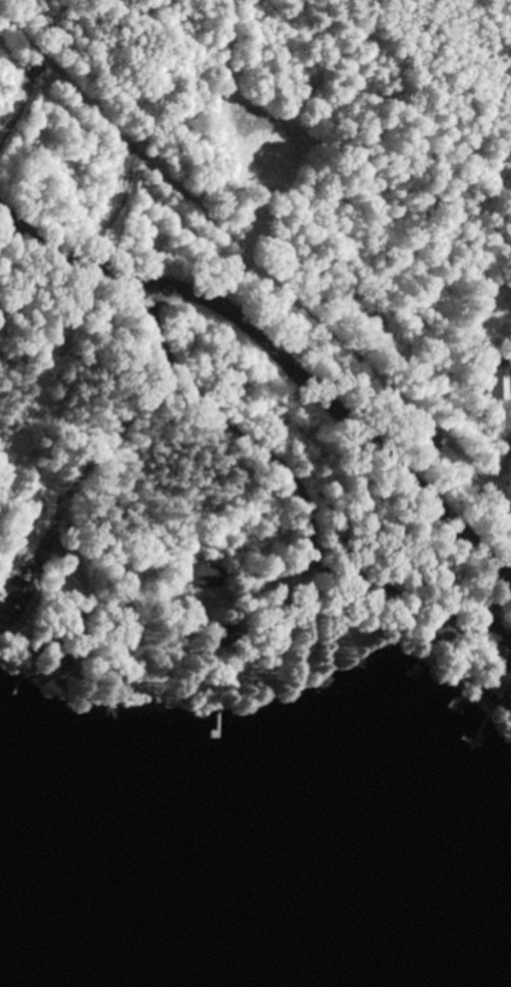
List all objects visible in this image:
road: (284, 356)
road: (50, 371)
building: (498, 382)
road: (197, 393)
building: (355, 561)
building: (206, 571)
building: (69, 584)
building: (14, 594)
building: (445, 621)
building: (224, 631)
building: (57, 647)
building: (500, 684)

